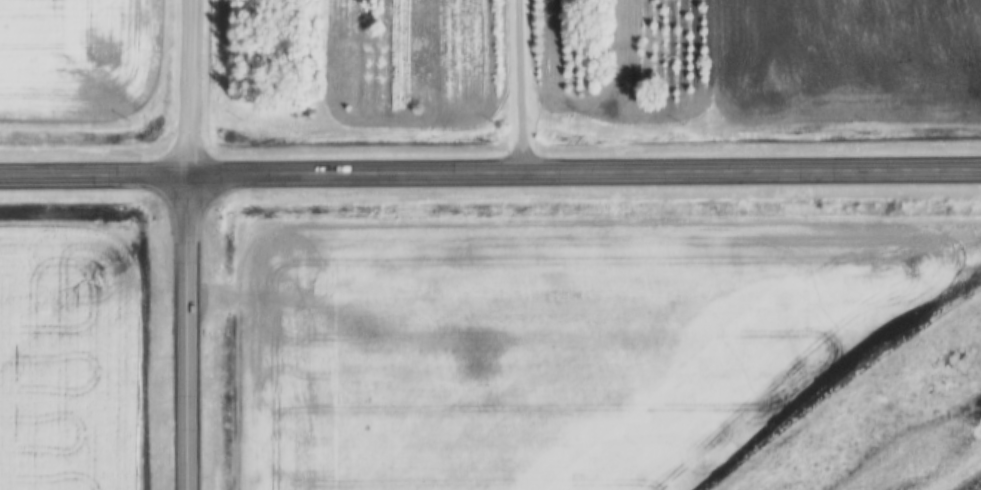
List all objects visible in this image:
crop: (77, 60)
crop: (845, 61)
road: (520, 87)
road: (188, 89)
road: (490, 176)
road: (187, 334)
crop: (554, 348)
crop: (74, 362)
crop: (976, 485)

